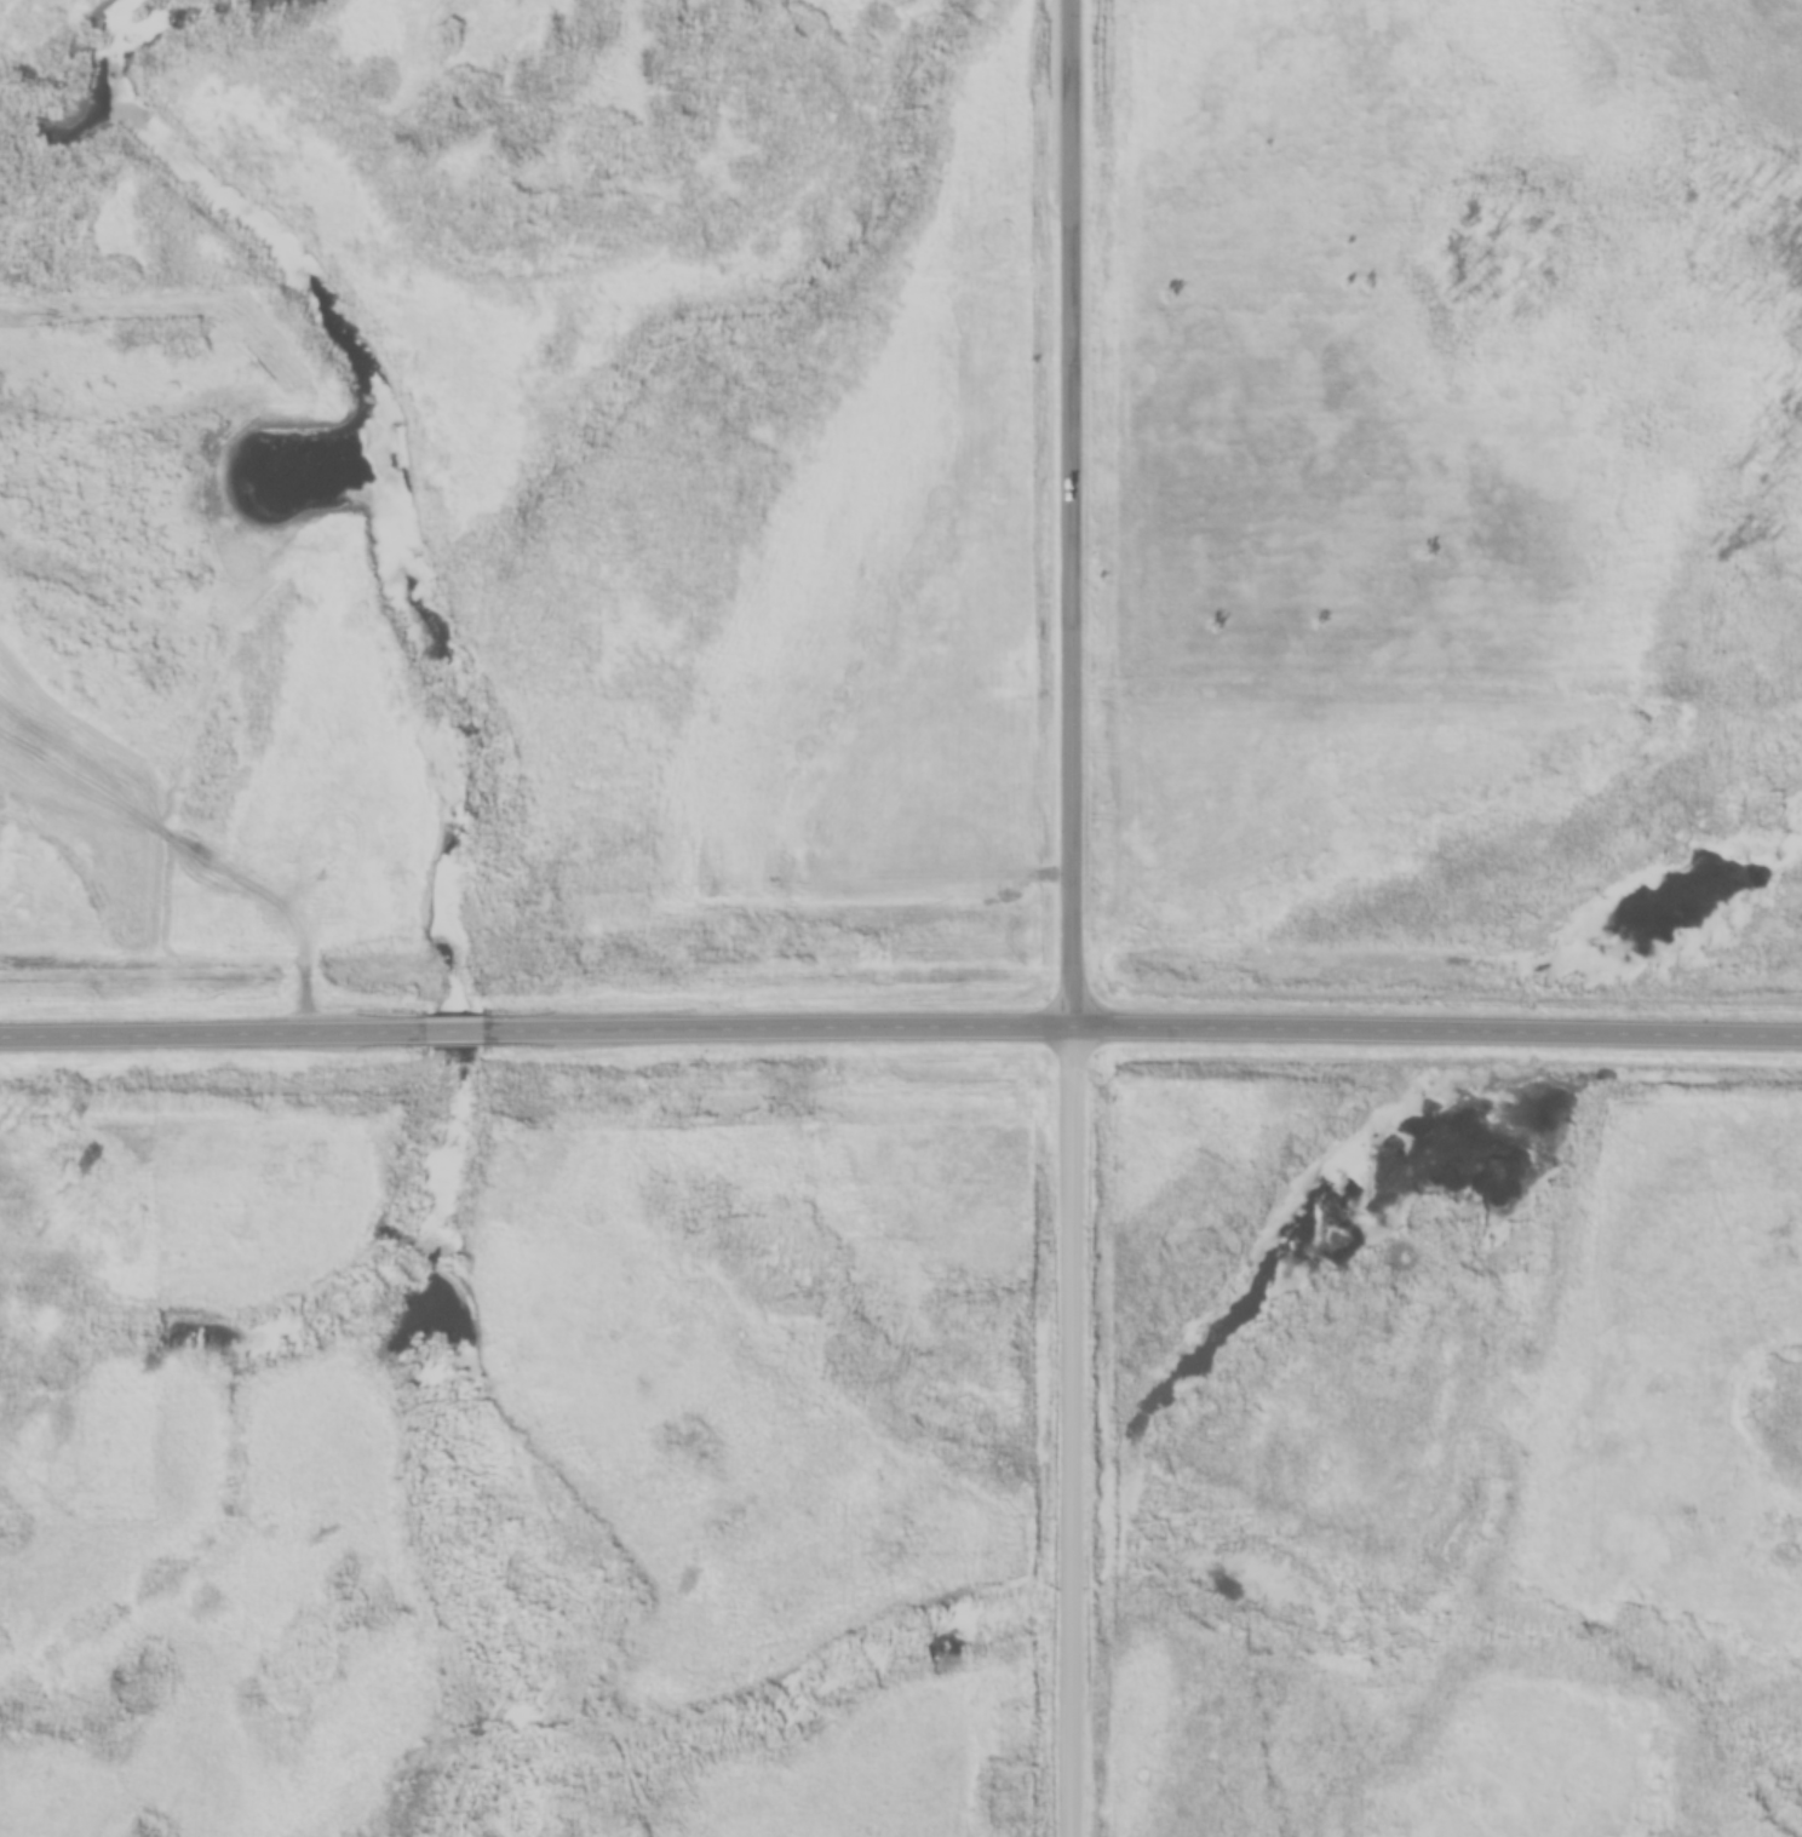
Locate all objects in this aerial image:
road: (1077, 918)
road: (458, 1034)
road: (1143, 1034)
road: (216, 1037)

